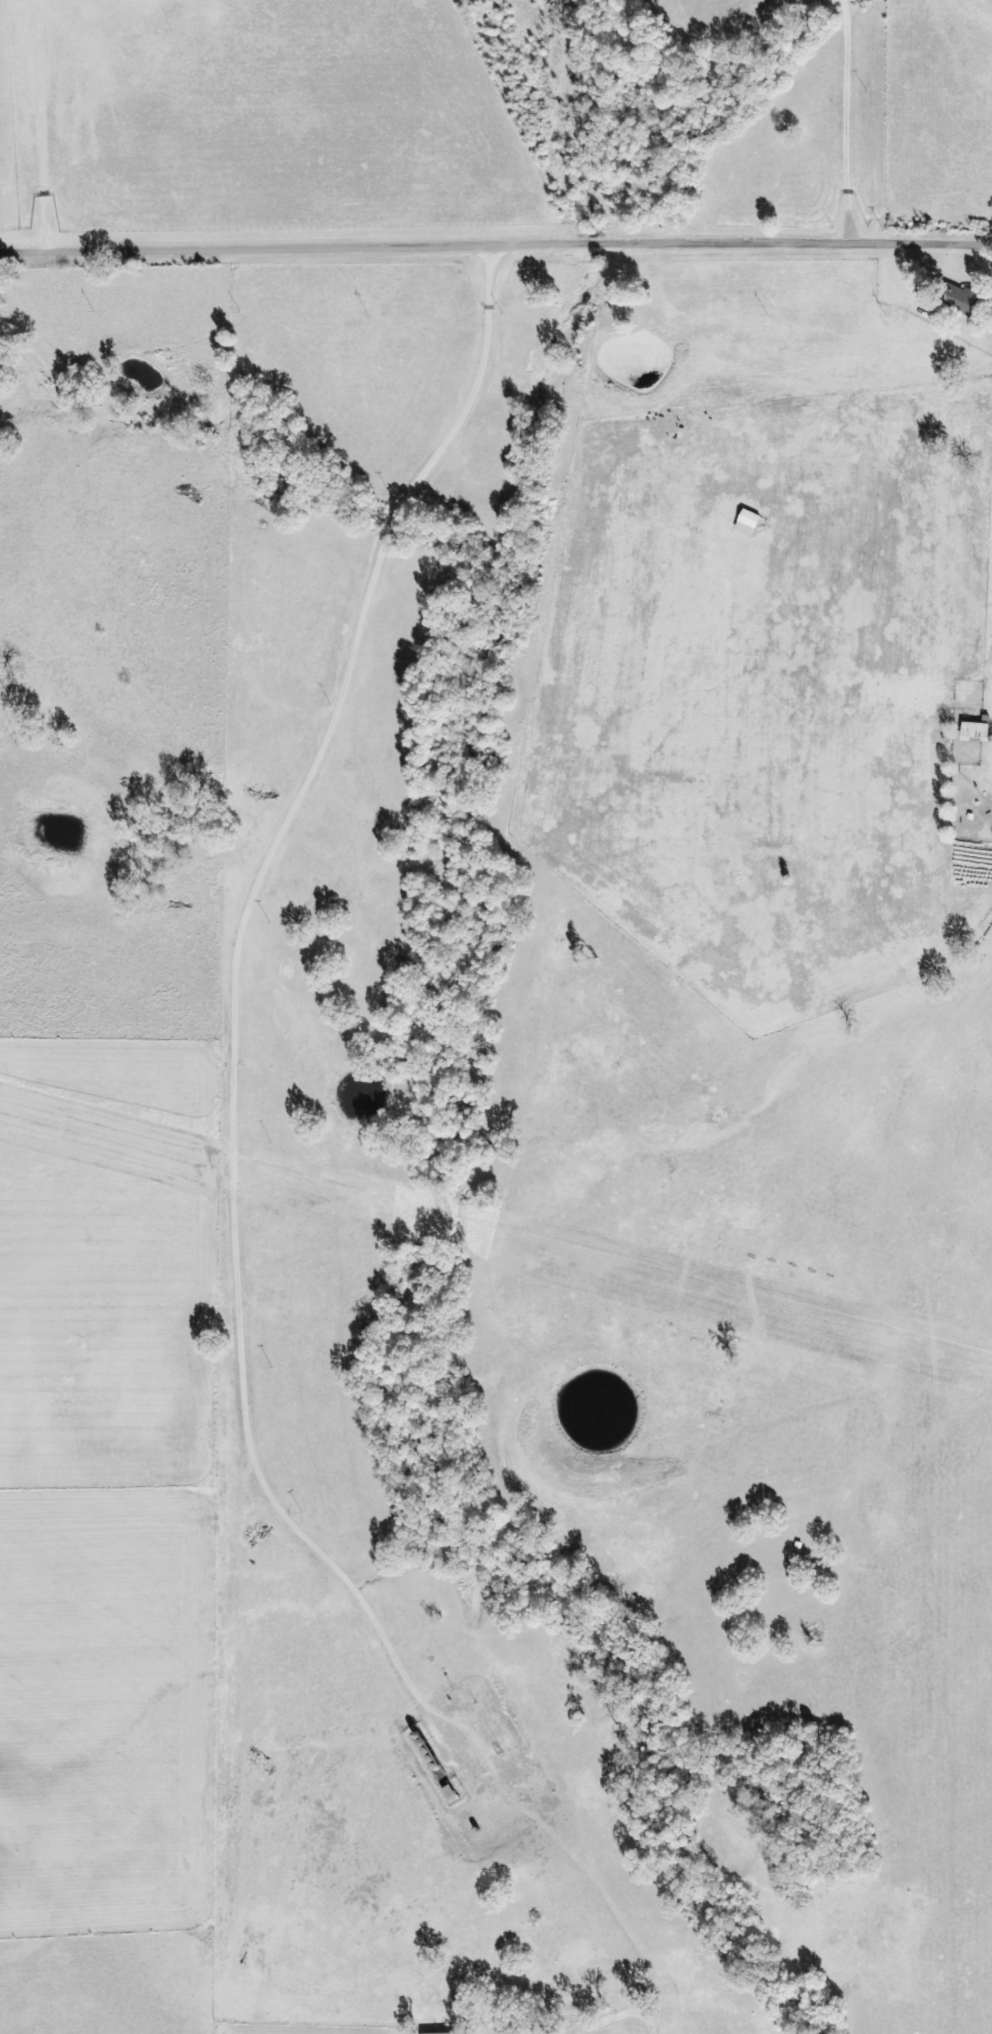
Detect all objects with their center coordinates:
road: (496, 246)
building: (962, 301)
building: (748, 524)
building: (976, 734)

